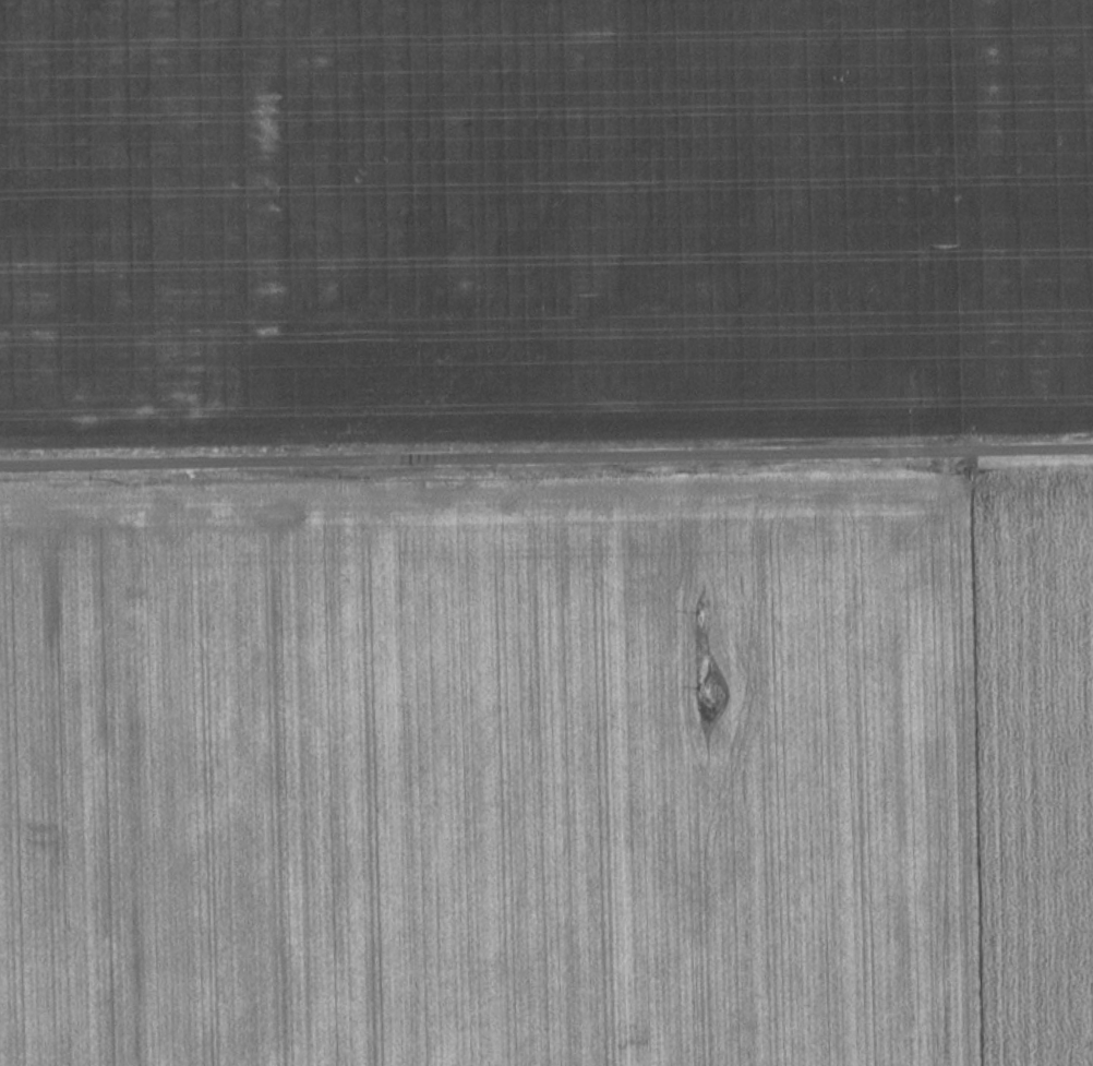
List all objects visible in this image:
crop: (543, 221)
road: (546, 460)
crop: (550, 775)

